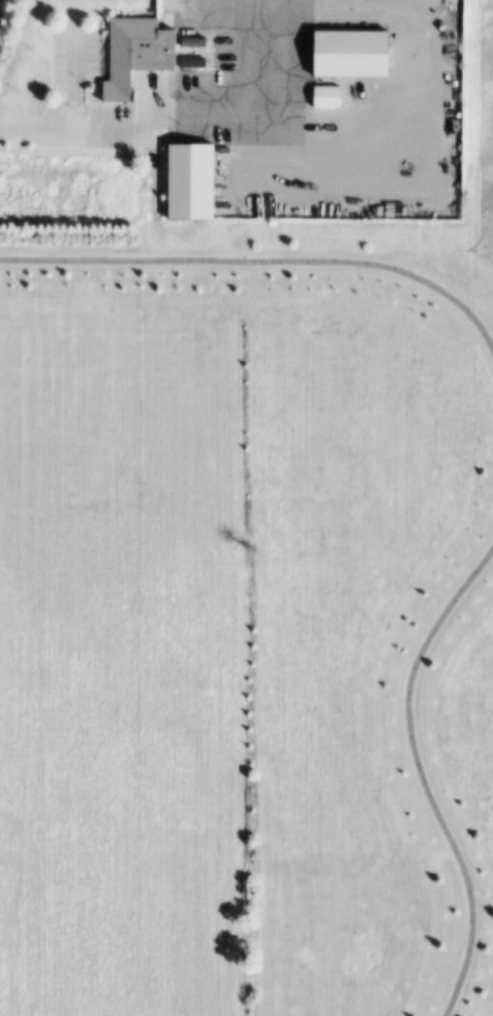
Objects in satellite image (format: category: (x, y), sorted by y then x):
building: (139, 54)
building: (352, 54)
parking lot: (68, 87)
building: (329, 97)
road: (86, 126)
building: (196, 182)
road: (264, 261)
road: (419, 775)

